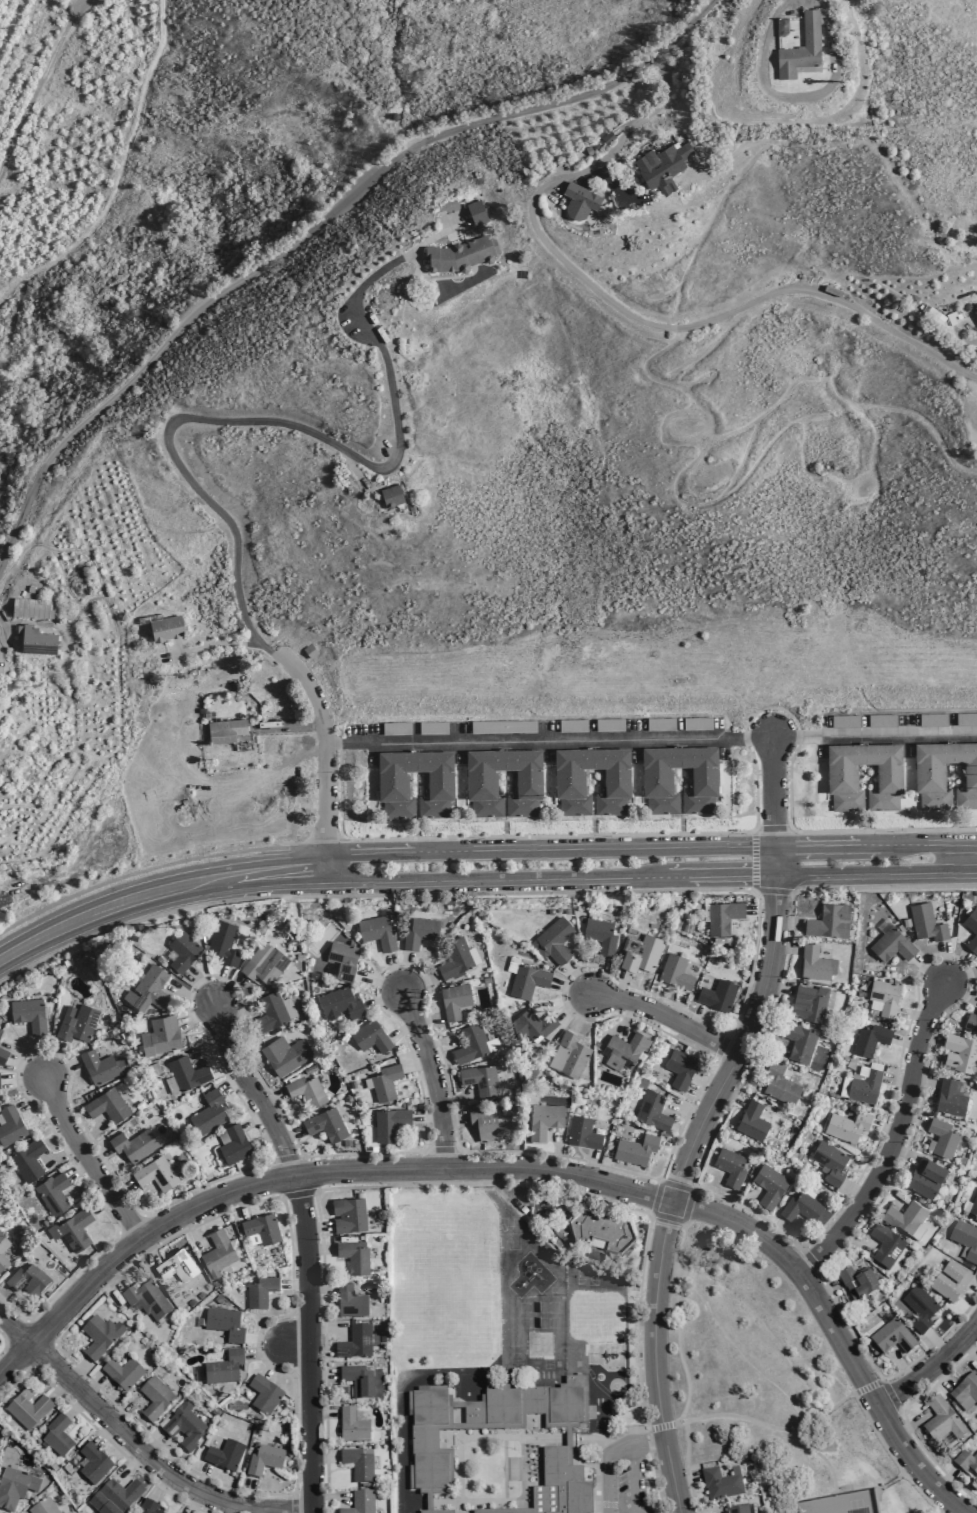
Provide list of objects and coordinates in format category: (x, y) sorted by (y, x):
building: (802, 51)
building: (659, 168)
building: (579, 202)
building: (477, 214)
road: (315, 229)
building: (460, 256)
building: (976, 305)
building: (393, 497)
building: (33, 608)
building: (167, 628)
road: (6, 632)
building: (39, 643)
building: (310, 651)
road: (771, 707)
building: (966, 719)
building: (933, 720)
building: (845, 721)
building: (882, 721)
building: (661, 724)
building: (697, 724)
building: (610, 725)
building: (573, 726)
building: (503, 727)
building: (396, 728)
building: (433, 728)
building: (226, 730)
road: (799, 737)
road: (874, 737)
road: (744, 739)
road: (549, 740)
road: (328, 754)
crop: (219, 763)
building: (945, 775)
building: (842, 776)
building: (657, 779)
building: (569, 780)
building: (481, 782)
building: (393, 783)
road: (756, 787)
road: (773, 793)
road: (774, 830)
road: (840, 831)
road: (549, 835)
road: (317, 842)
road: (917, 845)
road: (827, 847)
road: (274, 848)
road: (501, 855)
road: (964, 859)
road: (754, 860)
road: (775, 862)
road: (865, 873)
road: (124, 875)
road: (502, 877)
road: (773, 891)
road: (109, 896)
road: (761, 909)
building: (723, 917)
road: (111, 920)
building: (829, 921)
building: (927, 923)
road: (787, 924)
road: (951, 926)
building: (972, 929)
building: (377, 931)
building: (420, 933)
building: (600, 936)
building: (553, 941)
building: (224, 942)
building: (892, 944)
road: (785, 947)
building: (183, 952)
building: (642, 955)
building: (456, 958)
building: (343, 959)
road: (945, 962)
building: (816, 963)
building: (264, 964)
road: (955, 966)
road: (928, 970)
building: (676, 972)
road: (395, 973)
road: (405, 973)
building: (314, 975)
road: (960, 976)
road: (603, 977)
road: (579, 979)
building: (528, 980)
road: (381, 982)
road: (418, 983)
road: (621, 985)
road: (222, 986)
road: (572, 987)
road: (203, 988)
road: (778, 988)
building: (149, 990)
road: (230, 992)
road: (960, 992)
building: (718, 995)
road: (192, 996)
road: (384, 997)
building: (885, 997)
building: (455, 1000)
building: (340, 1003)
building: (810, 1003)
road: (573, 1004)
road: (678, 1005)
road: (237, 1012)
building: (271, 1012)
road: (582, 1013)
road: (198, 1014)
building: (29, 1015)
road: (913, 1015)
road: (428, 1017)
road: (626, 1017)
road: (666, 1017)
road: (696, 1018)
building: (971, 1022)
building: (77, 1023)
building: (532, 1024)
road: (403, 1029)
road: (611, 1029)
building: (0, 1031)
building: (160, 1035)
building: (371, 1036)
road: (764, 1037)
road: (931, 1037)
building: (870, 1039)
road: (441, 1041)
building: (799, 1041)
road: (905, 1042)
building: (471, 1043)
road: (743, 1043)
road: (210, 1045)
road: (760, 1048)
building: (624, 1050)
building: (960, 1053)
building: (286, 1054)
building: (569, 1055)
building: (2, 1056)
road: (41, 1059)
road: (53, 1060)
road: (249, 1063)
road: (417, 1065)
building: (102, 1066)
road: (27, 1068)
building: (681, 1068)
road: (61, 1070)
building: (187, 1073)
road: (433, 1077)
road: (897, 1077)
road: (24, 1079)
road: (924, 1079)
building: (482, 1080)
road: (231, 1081)
building: (386, 1082)
building: (780, 1084)
building: (865, 1086)
building: (306, 1090)
road: (252, 1092)
road: (701, 1093)
building: (950, 1098)
road: (272, 1099)
road: (456, 1099)
road: (35, 1100)
road: (891, 1100)
building: (107, 1105)
road: (453, 1107)
building: (653, 1111)
road: (686, 1111)
building: (209, 1113)
road: (428, 1114)
road: (254, 1116)
road: (914, 1119)
road: (454, 1120)
building: (544, 1120)
building: (752, 1121)
building: (389, 1123)
building: (489, 1124)
building: (10, 1125)
building: (326, 1125)
building: (847, 1126)
road: (885, 1128)
road: (94, 1132)
building: (583, 1133)
road: (291, 1134)
building: (943, 1138)
road: (895, 1139)
building: (134, 1144)
building: (235, 1144)
road: (675, 1146)
building: (636, 1149)
road: (443, 1150)
road: (61, 1152)
road: (557, 1152)
road: (903, 1153)
road: (99, 1155)
road: (284, 1159)
building: (28, 1160)
road: (88, 1161)
building: (830, 1161)
road: (484, 1166)
road: (591, 1166)
building: (731, 1167)
road: (79, 1168)
building: (156, 1174)
building: (925, 1177)
road: (660, 1180)
road: (661, 1182)
road: (483, 1185)
building: (769, 1185)
road: (122, 1189)
road: (693, 1190)
road: (887, 1190)
road: (854, 1191)
building: (53, 1193)
road: (299, 1194)
road: (241, 1202)
road: (102, 1203)
road: (726, 1204)
road: (740, 1204)
building: (974, 1207)
building: (800, 1208)
building: (349, 1215)
road: (651, 1215)
building: (905, 1218)
road: (132, 1224)
road: (684, 1224)
road: (317, 1226)
building: (262, 1228)
building: (601, 1228)
building: (75, 1229)
road: (191, 1231)
road: (776, 1231)
building: (559, 1232)
road: (852, 1240)
building: (965, 1240)
building: (3, 1242)
building: (885, 1246)
road: (130, 1247)
road: (148, 1250)
road: (319, 1250)
building: (218, 1253)
building: (355, 1256)
road: (809, 1258)
building: (3, 1262)
building: (177, 1266)
road: (115, 1275)
park: (586, 1277)
building: (28, 1280)
building: (949, 1282)
building: (858, 1283)
road: (974, 1283)
road: (294, 1284)
road: (320, 1290)
road: (825, 1290)
building: (260, 1292)
road: (4, 1294)
building: (146, 1300)
building: (350, 1302)
building: (920, 1309)
building: (224, 1323)
road: (678, 1325)
road: (326, 1329)
road: (17, 1331)
road: (39, 1332)
road: (836, 1334)
building: (99, 1336)
building: (892, 1337)
road: (265, 1340)
building: (355, 1342)
road: (4, 1343)
road: (296, 1343)
road: (309, 1344)
road: (936, 1344)
road: (256, 1348)
road: (968, 1349)
road: (264, 1350)
road: (17, 1353)
road: (42, 1353)
road: (653, 1357)
road: (273, 1359)
road: (931, 1366)
road: (30, 1367)
building: (223, 1368)
road: (902, 1368)
road: (77, 1371)
building: (122, 1373)
road: (322, 1374)
road: (939, 1376)
building: (357, 1381)
park: (767, 1385)
road: (93, 1386)
road: (867, 1386)
road: (58, 1388)
building: (965, 1389)
road: (890, 1394)
building: (263, 1396)
building: (155, 1398)
road: (75, 1405)
building: (529, 1406)
building: (28, 1411)
road: (125, 1411)
road: (323, 1412)
road: (903, 1419)
building: (942, 1421)
road: (911, 1424)
building: (183, 1426)
building: (352, 1426)
road: (662, 1426)
road: (769, 1426)
road: (98, 1432)
road: (104, 1433)
building: (57, 1436)
building: (429, 1438)
road: (154, 1445)
road: (137, 1447)
road: (597, 1452)
road: (608, 1454)
building: (224, 1455)
road: (323, 1457)
road: (891, 1457)
road: (822, 1459)
building: (264, 1460)
building: (966, 1462)
building: (93, 1464)
road: (128, 1464)
building: (357, 1464)
road: (687, 1467)
road: (907, 1471)
parking lot: (624, 1474)
road: (202, 1478)
road: (632, 1478)
road: (946, 1478)
road: (686, 1479)
road: (891, 1481)
building: (720, 1484)
road: (158, 1485)
building: (12, 1488)
building: (556, 1488)
road: (862, 1489)
road: (249, 1493)
road: (302, 1495)
road: (329, 1496)
building: (114, 1497)
road: (876, 1501)
road: (193, 1502)
road: (293, 1502)
building: (360, 1503)
park: (840, 1503)
road: (326, 1505)
building: (43, 1507)
building: (147, 1507)
road: (229, 1508)
building: (737, 1509)
road: (261, 1510)
building: (436, 1511)
road: (709, 1512)

